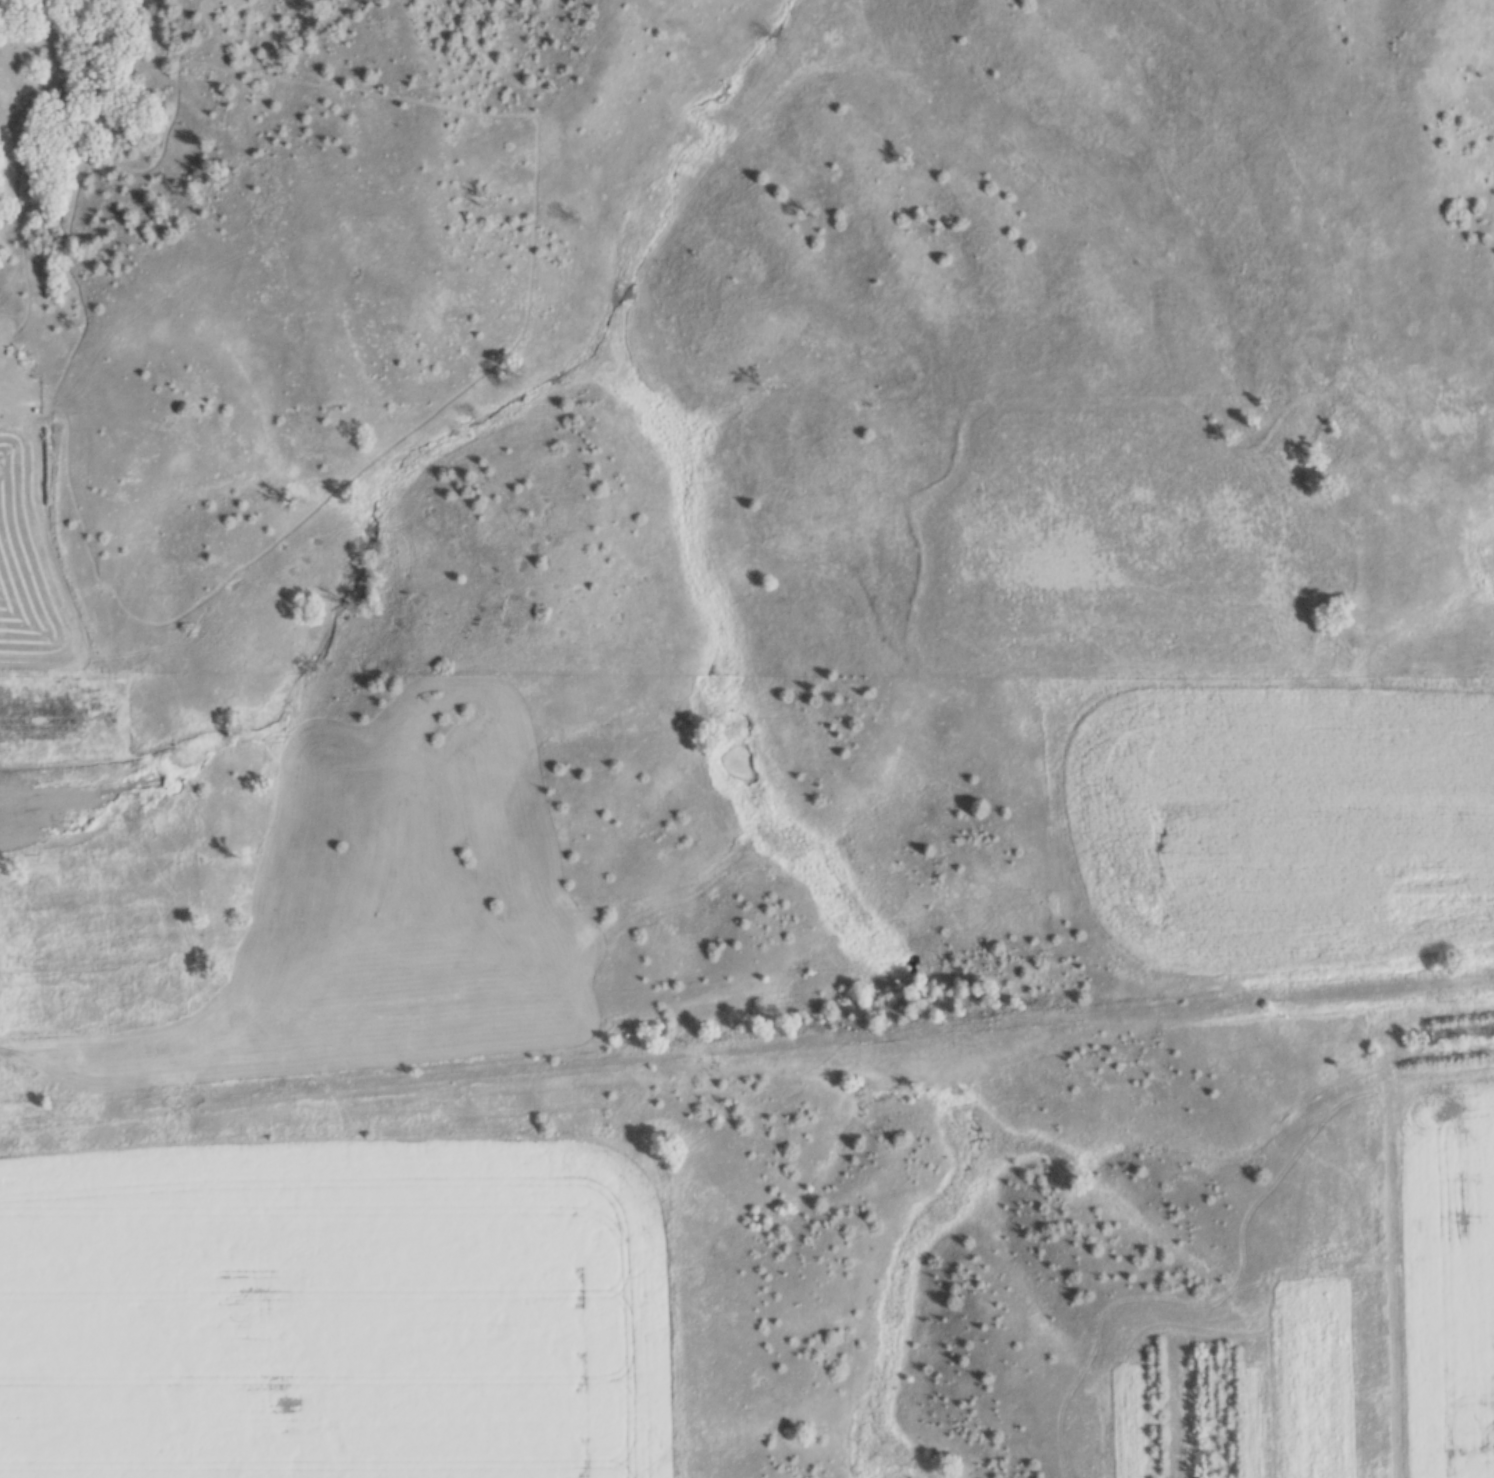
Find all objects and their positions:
road: (24, 1066)
crop: (336, 1314)

